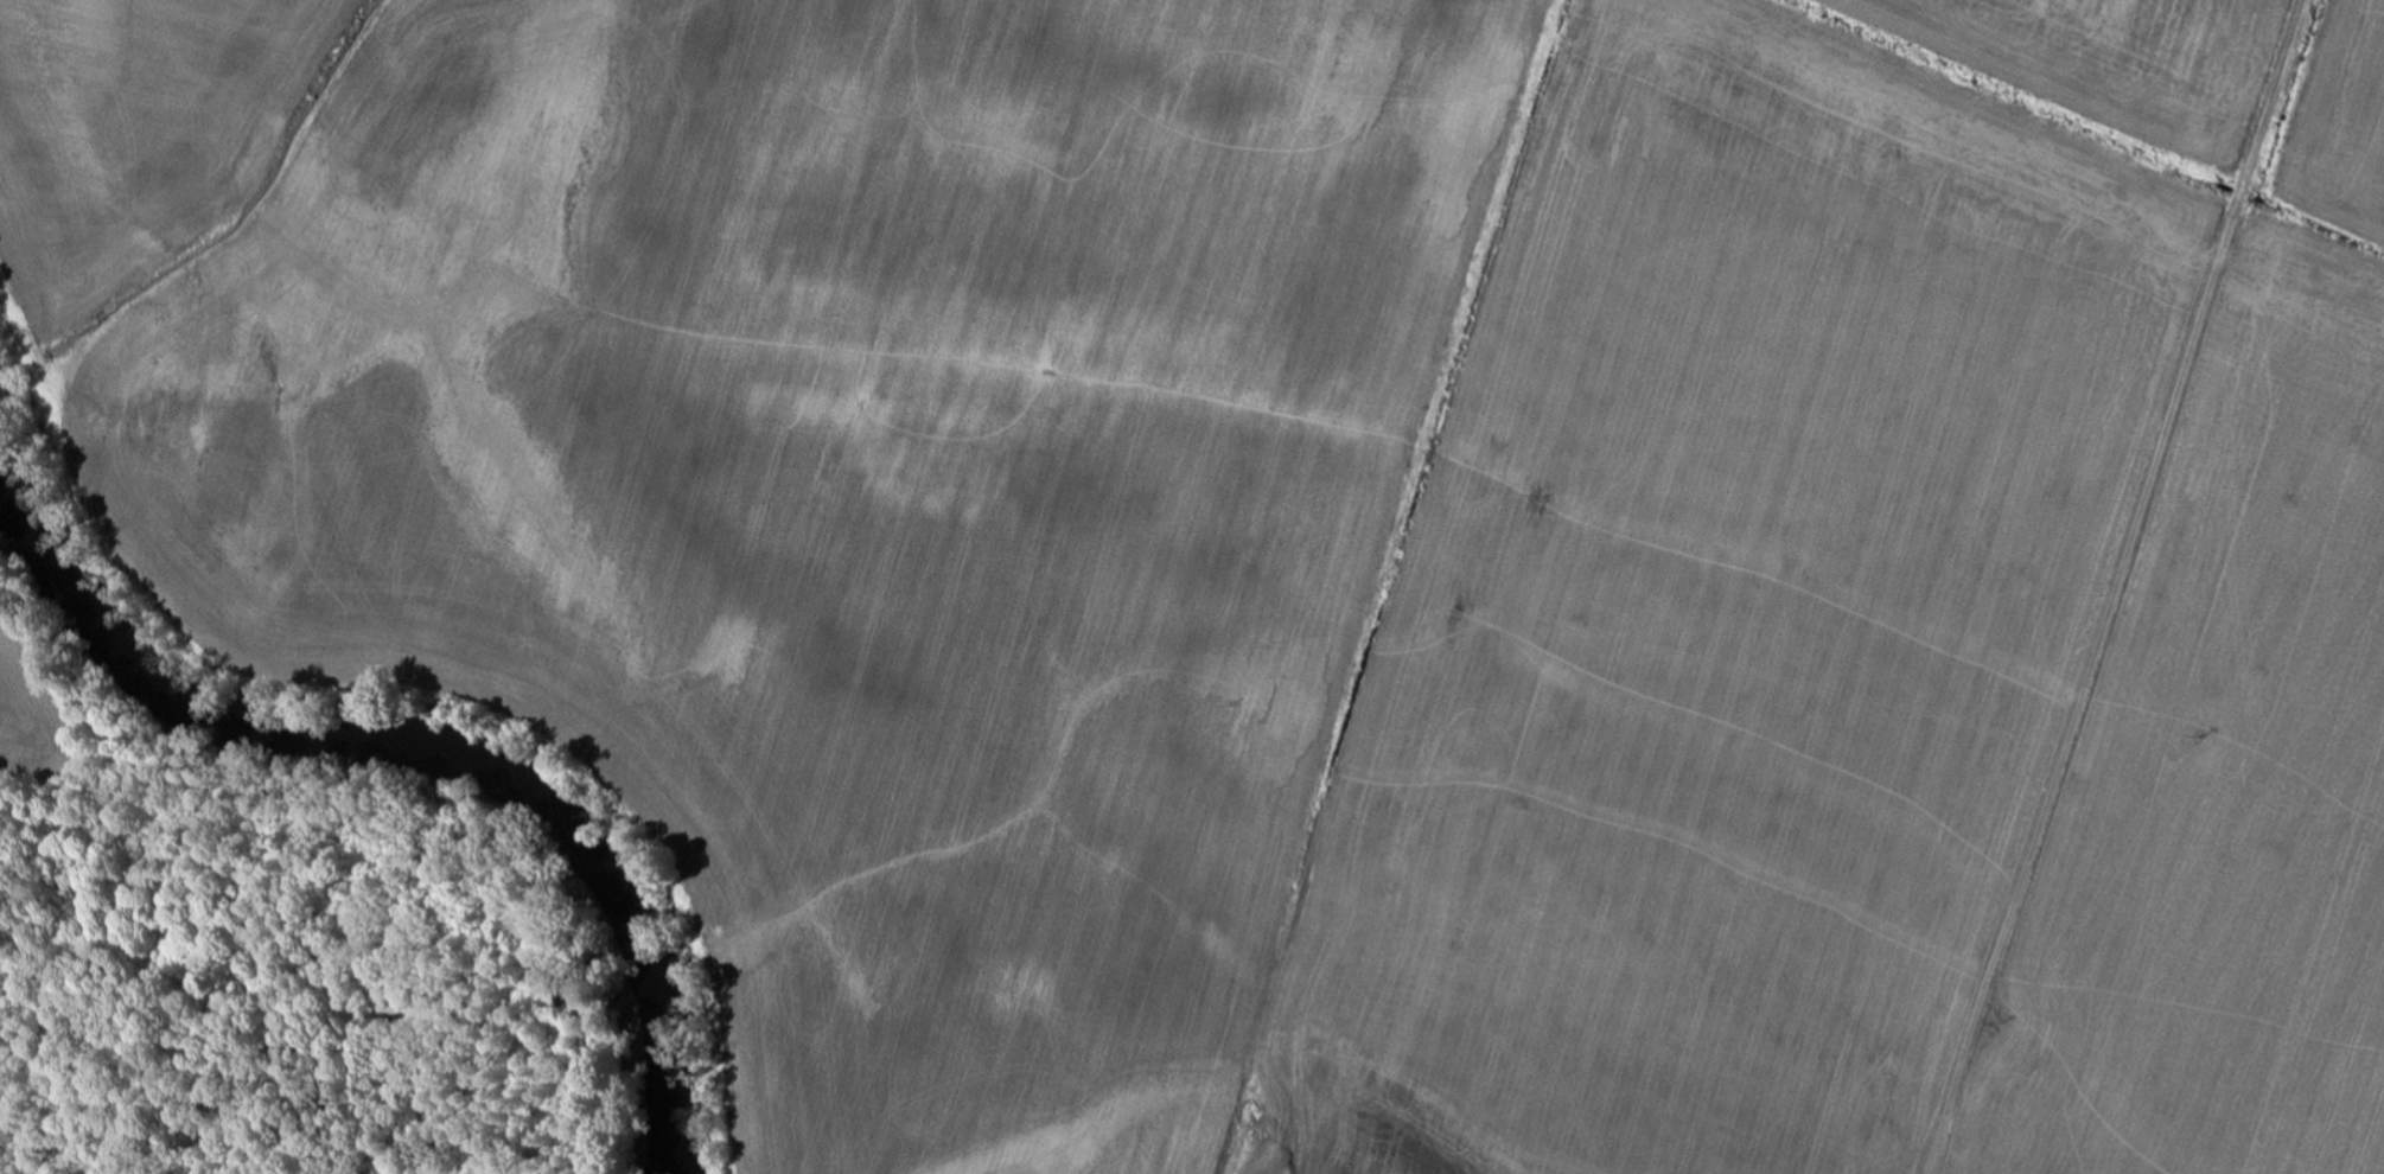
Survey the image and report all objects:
road: (2102, 587)
river: (391, 758)

